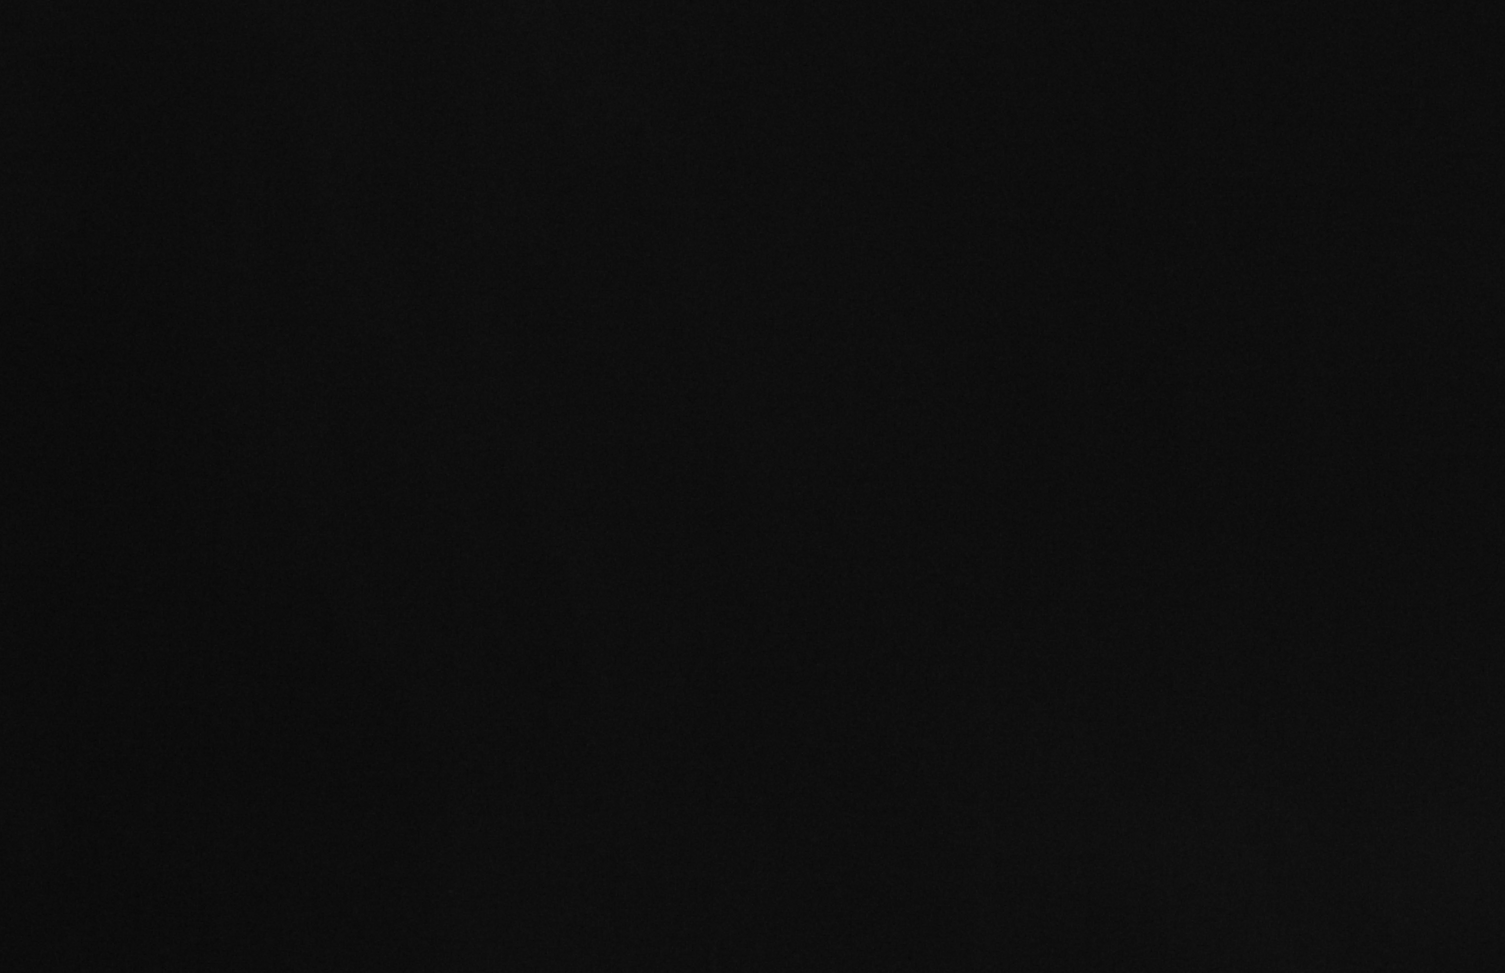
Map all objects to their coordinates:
river: (609, 500)

